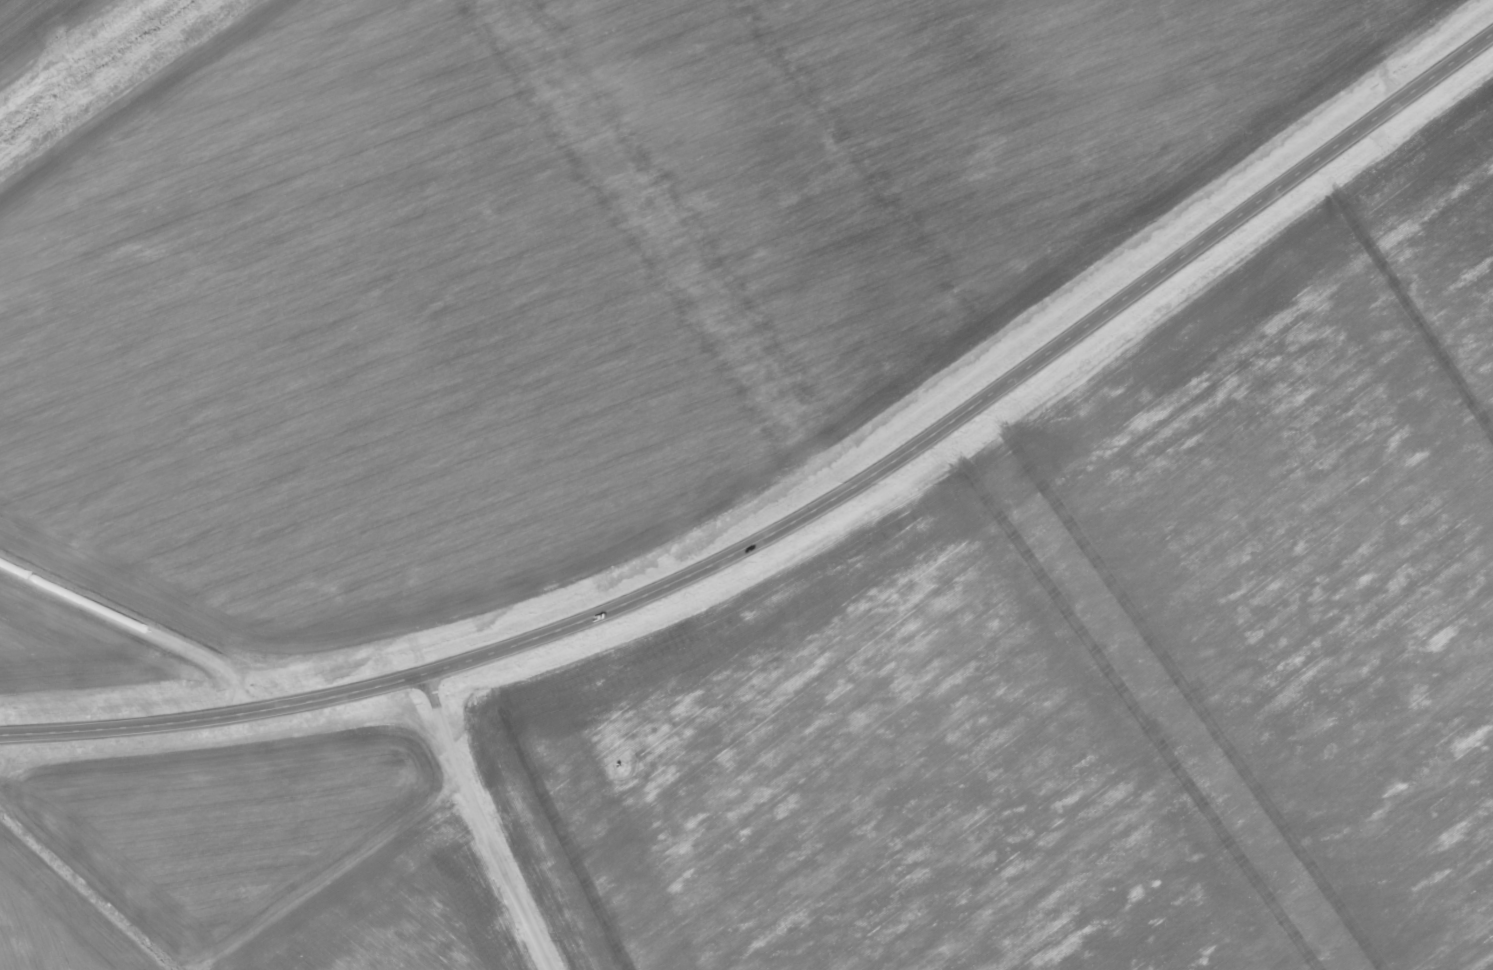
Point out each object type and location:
road: (803, 516)
road: (140, 619)
road: (487, 824)

